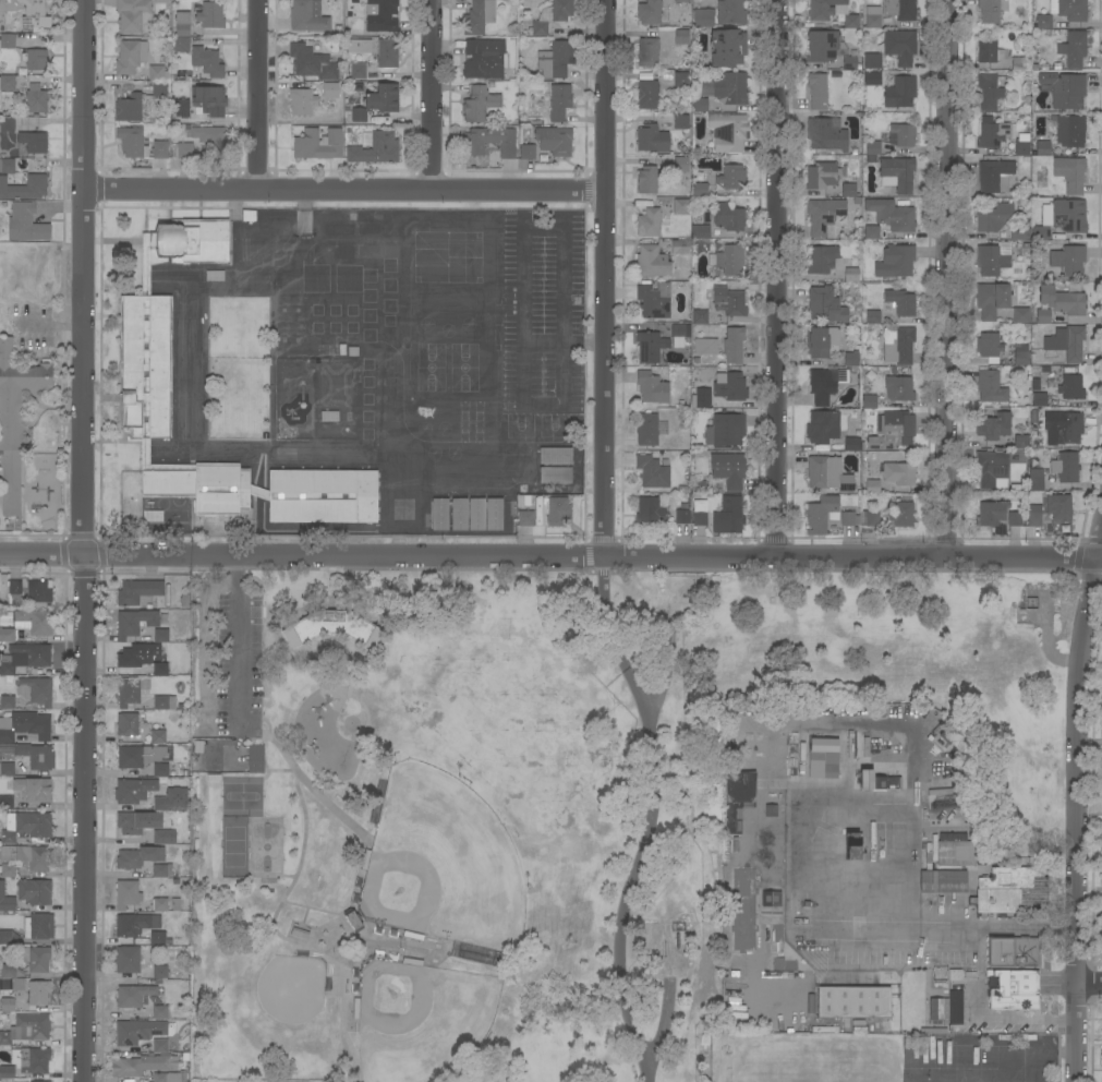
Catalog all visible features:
building: (160, 1)
building: (681, 1)
building: (822, 9)
building: (899, 9)
building: (1071, 10)
building: (988, 11)
building: (651, 12)
building: (730, 12)
building: (34, 15)
building: (210, 15)
building: (306, 15)
building: (380, 15)
building: (134, 16)
building: (479, 16)
building: (550, 16)
building: (703, 17)
building: (850, 21)
building: (873, 22)
building: (1043, 22)
building: (2, 28)
building: (181, 33)
building: (680, 37)
building: (7, 40)
building: (822, 46)
building: (900, 46)
building: (726, 48)
building: (1073, 49)
building: (989, 51)
building: (647, 52)
building: (387, 53)
building: (129, 57)
building: (484, 59)
building: (35, 60)
building: (554, 60)
building: (872, 61)
building: (206, 62)
building: (312, 62)
building: (849, 63)
building: (1020, 64)
building: (160, 70)
building: (358, 71)
building: (681, 80)
building: (872, 80)
building: (7, 83)
building: (331, 87)
building: (730, 88)
building: (158, 89)
building: (816, 91)
building: (988, 92)
building: (899, 93)
building: (1066, 93)
building: (647, 94)
road: (253, 96)
road: (426, 96)
building: (382, 99)
building: (209, 100)
building: (36, 101)
building: (301, 101)
building: (559, 101)
building: (479, 104)
building: (700, 105)
building: (129, 108)
building: (180, 109)
building: (358, 115)
building: (681, 122)
building: (7, 124)
building: (1070, 131)
building: (727, 132)
building: (825, 135)
building: (903, 135)
building: (993, 135)
building: (651, 139)
building: (209, 141)
building: (554, 141)
building: (488, 142)
building: (132, 143)
building: (31, 144)
building: (318, 144)
building: (374, 147)
building: (1021, 148)
building: (1042, 148)
building: (159, 149)
building: (183, 151)
building: (872, 151)
building: (528, 152)
building: (680, 165)
building: (7, 166)
building: (1069, 173)
building: (897, 175)
building: (821, 176)
building: (994, 176)
building: (731, 177)
building: (646, 180)
building: (24, 188)
building: (700, 190)
road: (341, 192)
building: (849, 192)
building: (680, 207)
building: (823, 215)
building: (891, 215)
building: (1068, 216)
building: (728, 217)
building: (993, 218)
building: (25, 223)
building: (649, 223)
building: (700, 231)
building: (871, 232)
building: (1041, 232)
building: (1019, 233)
building: (680, 247)
building: (821, 259)
building: (993, 259)
building: (729, 261)
building: (1068, 261)
building: (652, 262)
building: (895, 262)
building: (851, 275)
building: (214, 276)
road: (602, 277)
road: (773, 277)
road: (942, 278)
road: (566, 290)
building: (991, 299)
building: (654, 300)
building: (728, 301)
building: (900, 301)
building: (1062, 301)
building: (825, 304)
building: (1020, 315)
building: (700, 316)
building: (1042, 316)
building: (872, 317)
building: (677, 333)
building: (821, 341)
road: (544, 342)
road: (584, 342)
building: (1065, 342)
building: (145, 344)
building: (732, 345)
building: (988, 345)
building: (899, 346)
building: (650, 347)
building: (704, 347)
building: (850, 359)
building: (1020, 359)
building: (824, 384)
building: (652, 387)
building: (730, 387)
building: (990, 387)
building: (1070, 387)
building: (900, 389)
building: (1039, 399)
building: (700, 401)
building: (869, 401)
building: (329, 417)
building: (15, 419)
building: (825, 424)
building: (993, 425)
building: (1068, 426)
building: (646, 430)
building: (725, 430)
building: (892, 430)
building: (1020, 441)
building: (852, 444)
road: (203, 447)
building: (555, 456)
building: (1065, 467)
building: (728, 470)
building: (991, 470)
building: (651, 472)
building: (898, 473)
building: (555, 474)
building: (827, 474)
building: (1036, 480)
building: (872, 486)
building: (650, 509)
building: (550, 510)
building: (1051, 512)
building: (439, 514)
building: (459, 514)
building: (476, 514)
building: (901, 514)
building: (991, 514)
building: (494, 515)
building: (719, 515)
building: (820, 515)
building: (153, 516)
building: (681, 516)
building: (524, 517)
building: (848, 518)
building: (869, 518)
building: (1014, 518)
road: (82, 540)
road: (550, 555)
building: (14, 587)
building: (38, 591)
building: (137, 592)
building: (33, 622)
building: (134, 623)
building: (330, 627)
building: (7, 635)
building: (158, 635)
road: (237, 642)
building: (31, 654)
building: (141, 660)
building: (7, 665)
parking lot: (238, 669)
building: (35, 690)
building: (130, 690)
building: (7, 702)
building: (165, 702)
road: (666, 710)
road: (262, 719)
building: (126, 724)
building: (25, 726)
building: (157, 736)
building: (738, 749)
building: (35, 756)
building: (137, 756)
building: (823, 758)
building: (255, 759)
building: (7, 769)
building: (160, 770)
road: (279, 771)
building: (865, 781)
building: (877, 783)
building: (32, 789)
building: (739, 789)
building: (133, 791)
park: (548, 794)
building: (5, 803)
building: (160, 804)
road: (1073, 804)
building: (771, 812)
road: (655, 816)
building: (732, 820)
building: (136, 822)
building: (27, 827)
road: (365, 835)
building: (164, 838)
building: (852, 845)
park: (233, 849)
park: (266, 850)
building: (949, 852)
building: (27, 856)
building: (138, 857)
building: (766, 857)
park: (443, 865)
building: (8, 870)
building: (161, 870)
road: (292, 876)
building: (941, 881)
building: (1009, 890)
building: (34, 891)
building: (126, 893)
building: (771, 899)
building: (5, 901)
building: (159, 904)
road: (281, 904)
building: (1101, 904)
building: (742, 911)
building: (352, 918)
building: (135, 924)
building: (38, 926)
road: (358, 930)
road: (949, 933)
building: (299, 934)
building: (5, 937)
building: (157, 938)
building: (1012, 952)
building: (38, 959)
building: (126, 960)
building: (776, 964)
building: (159, 972)
building: (955, 975)
building: (11, 976)
building: (740, 979)
road: (1089, 985)
building: (1014, 989)
building: (38, 991)
building: (133, 995)
building: (852, 1002)
building: (7, 1005)
building: (956, 1008)
building: (159, 1012)
park: (424, 1027)
building: (779, 1027)
building: (26, 1029)
building: (137, 1032)
road: (661, 1038)
building: (160, 1045)
building: (1101, 1056)
building: (29, 1059)
building: (143, 1065)
building: (7, 1072)
building: (169, 1077)

